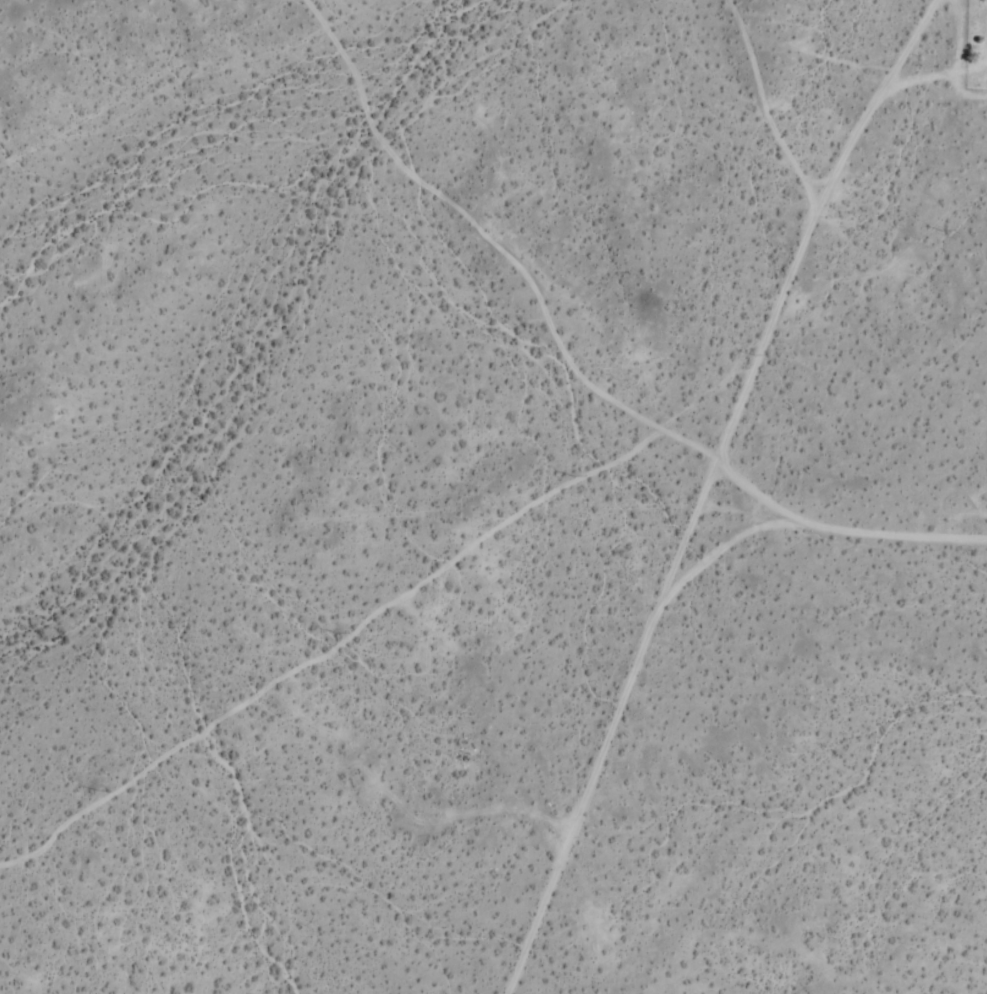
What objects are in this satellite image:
road: (877, 526)

